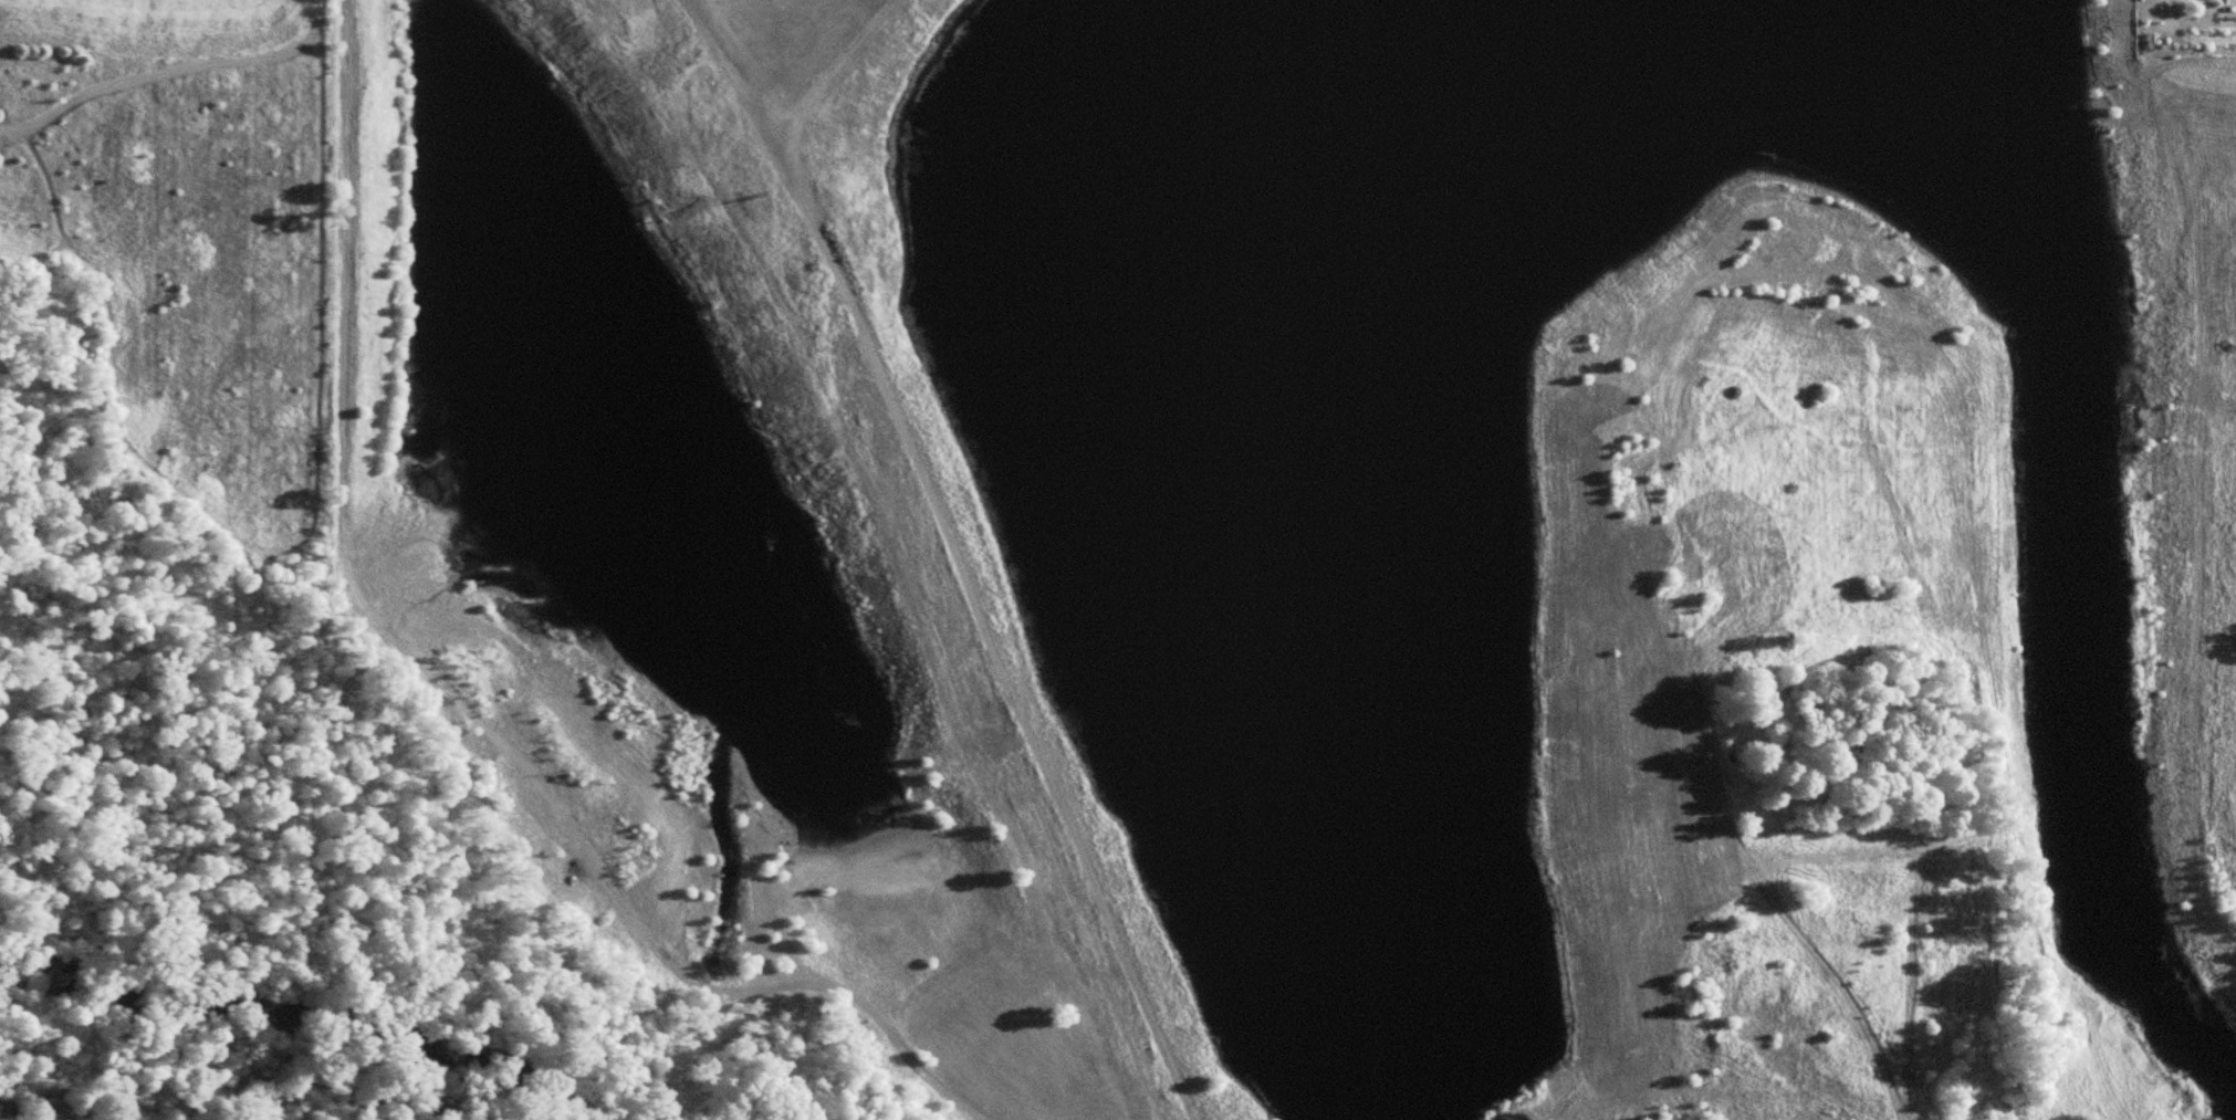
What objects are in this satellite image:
river: (248, 1018)

